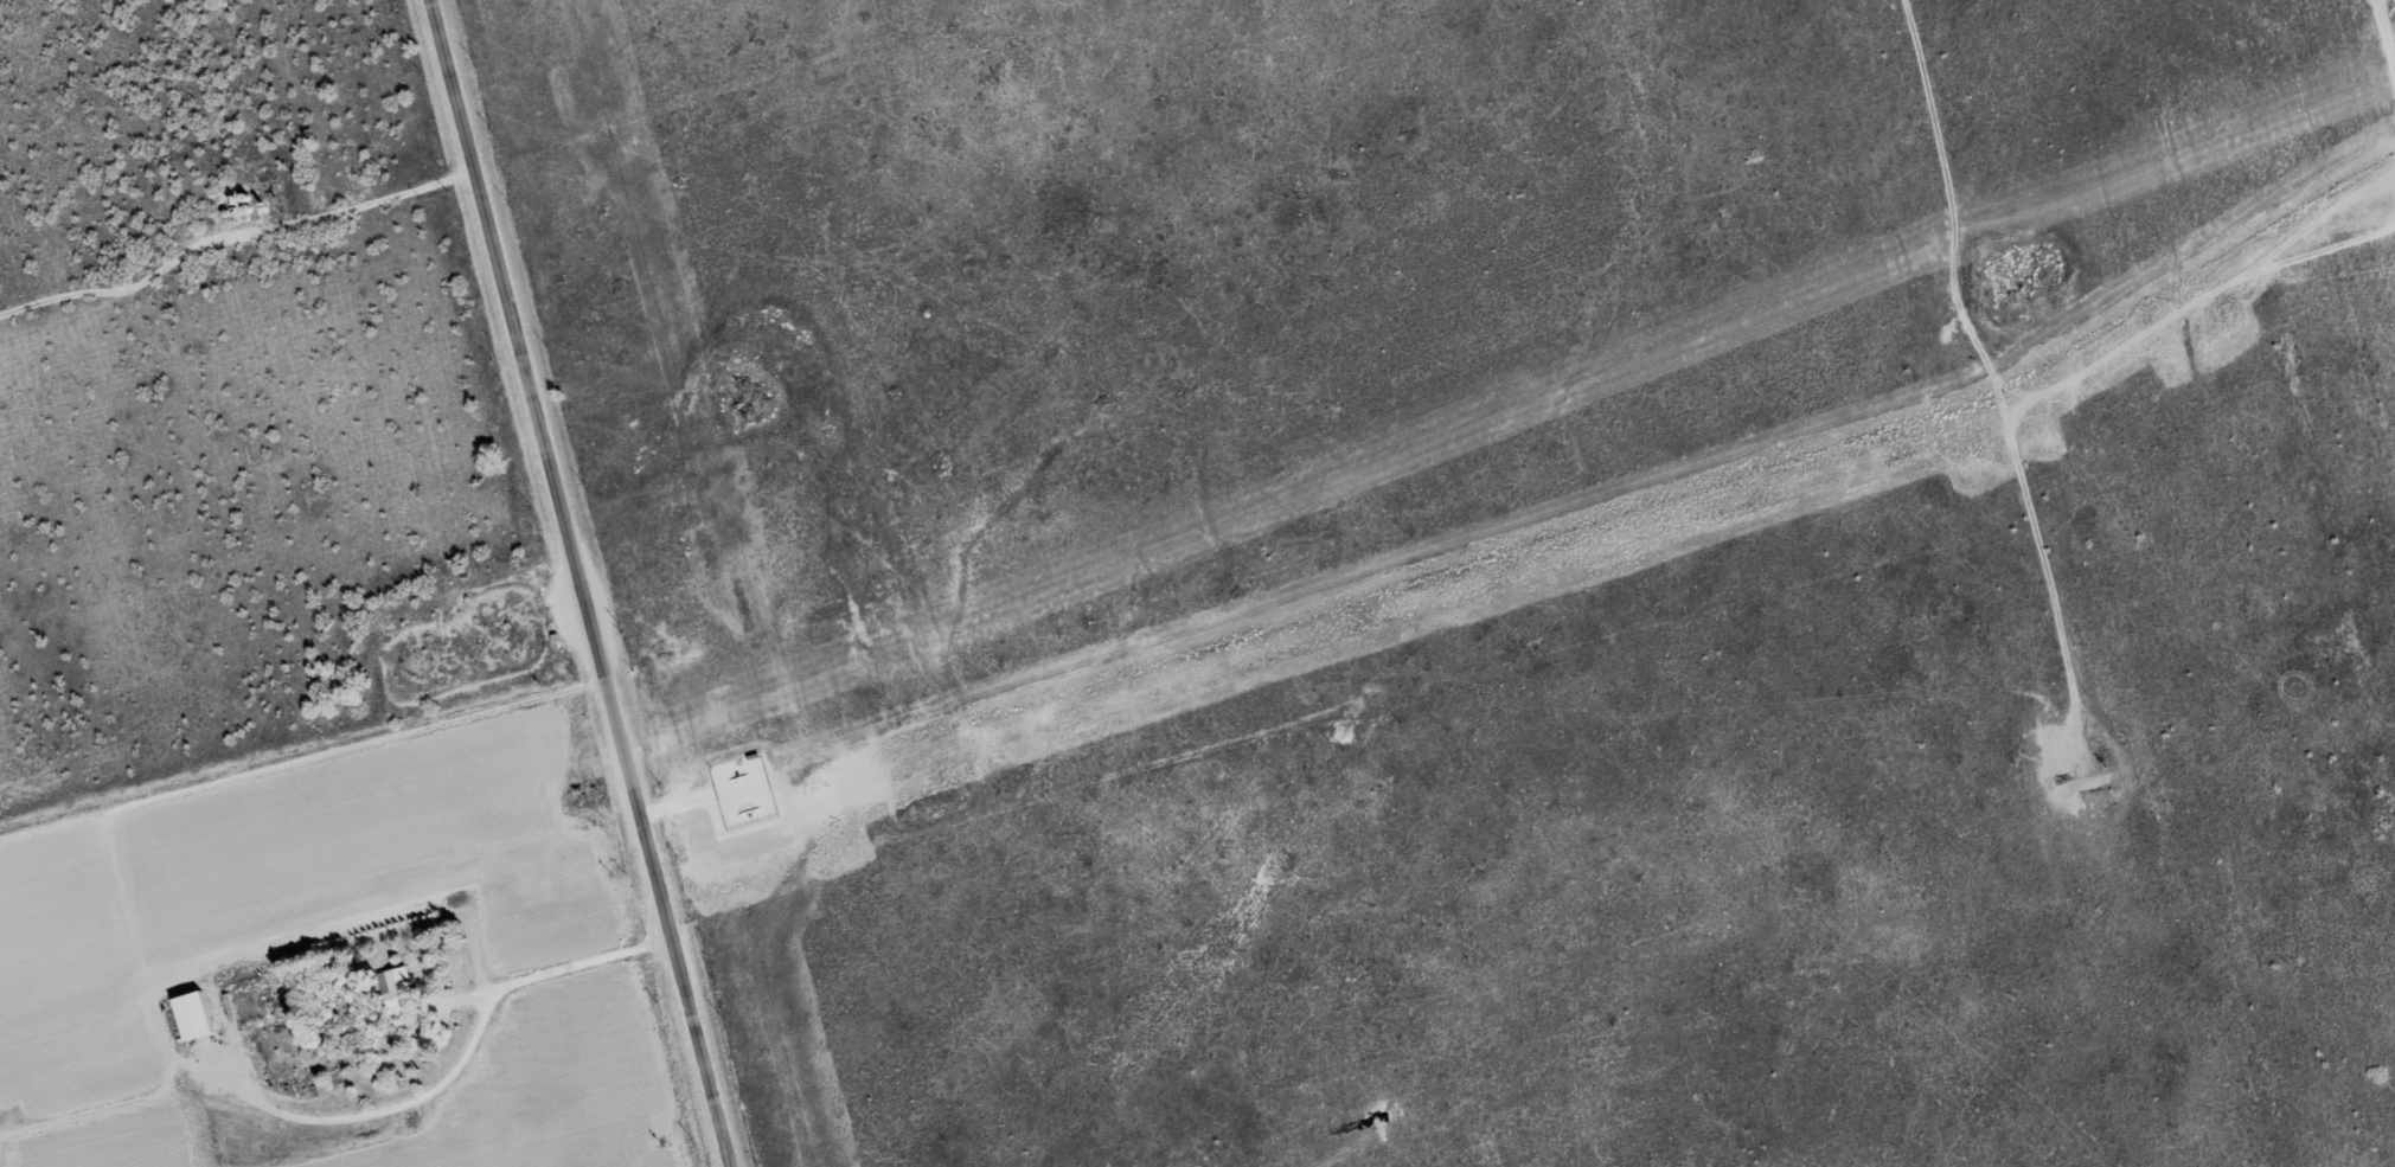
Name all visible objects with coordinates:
road: (2386, 43)
road: (232, 236)
road: (582, 583)
building: (418, 663)
road: (1647, 714)
road: (565, 964)
building: (398, 993)
building: (194, 1015)

